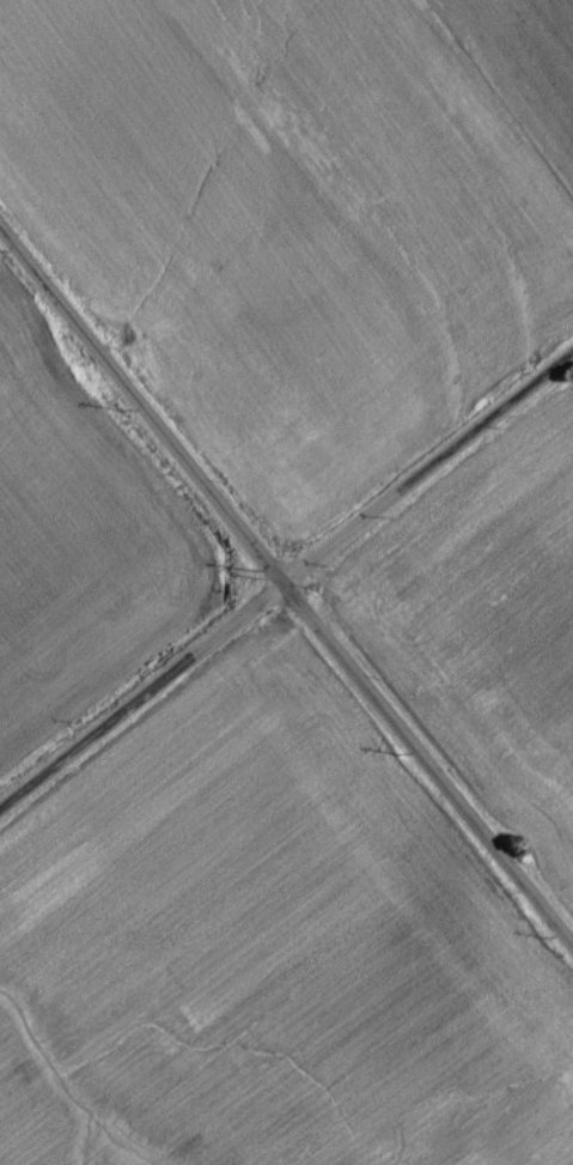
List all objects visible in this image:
road: (144, 403)
road: (429, 468)
road: (144, 697)
road: (429, 762)

